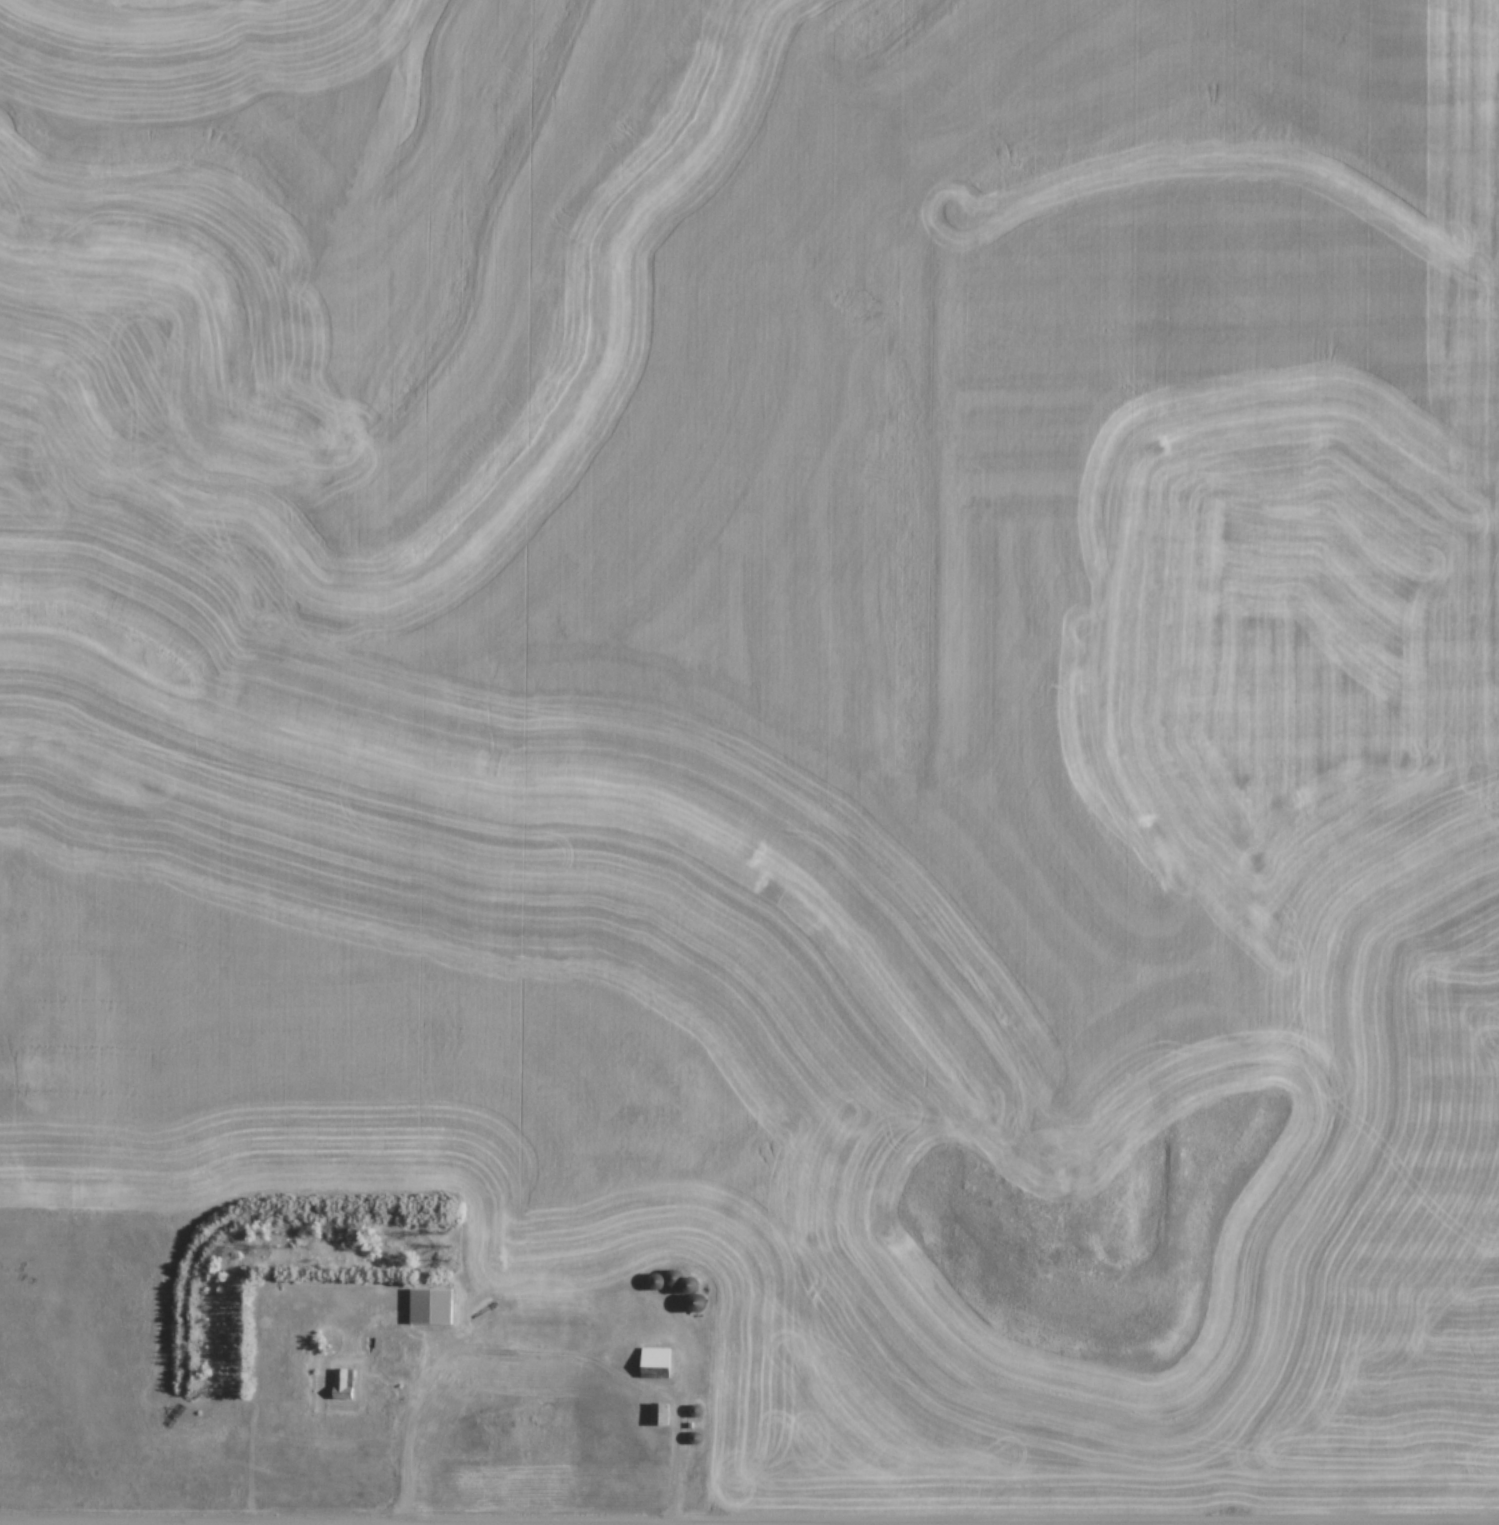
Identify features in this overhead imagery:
silo: (671, 1274)
silo: (655, 1278)
silo: (688, 1281)
silo: (695, 1301)
building: (431, 1303)
road: (539, 1349)
building: (658, 1359)
building: (342, 1382)
silo: (694, 1408)
building: (658, 1412)
silo: (694, 1435)
road: (268, 1523)

